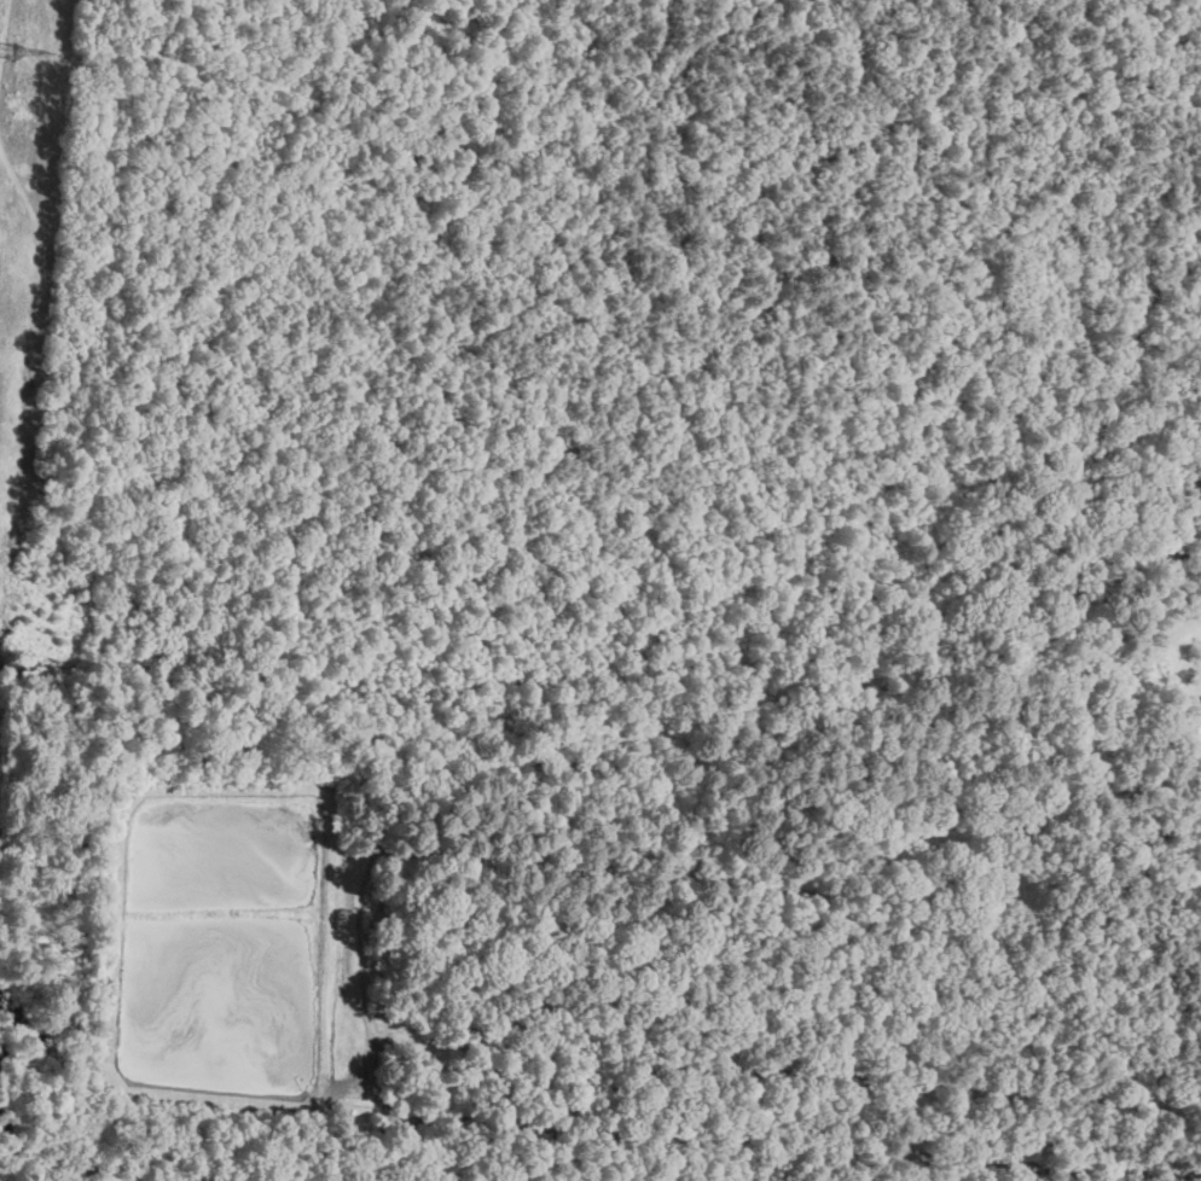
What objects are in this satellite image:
power tower: (6, 52)

